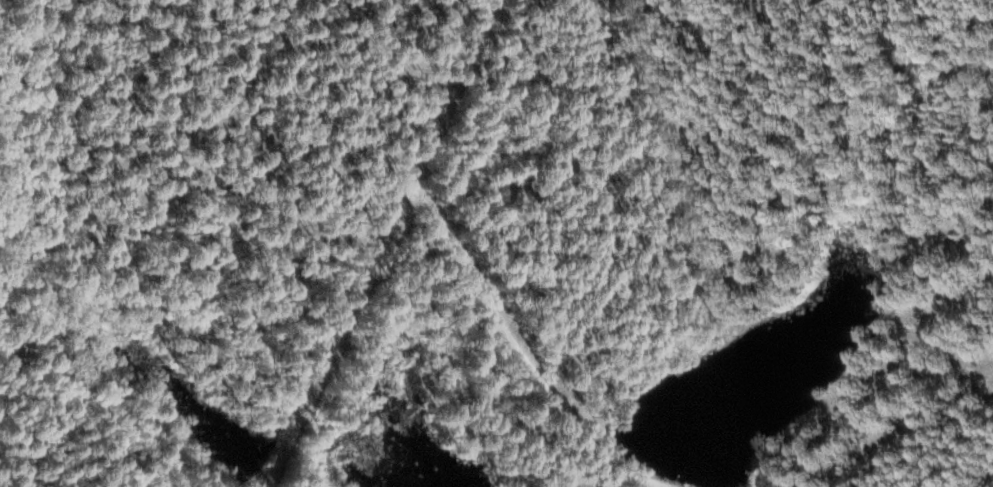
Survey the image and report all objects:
road: (356, 244)

